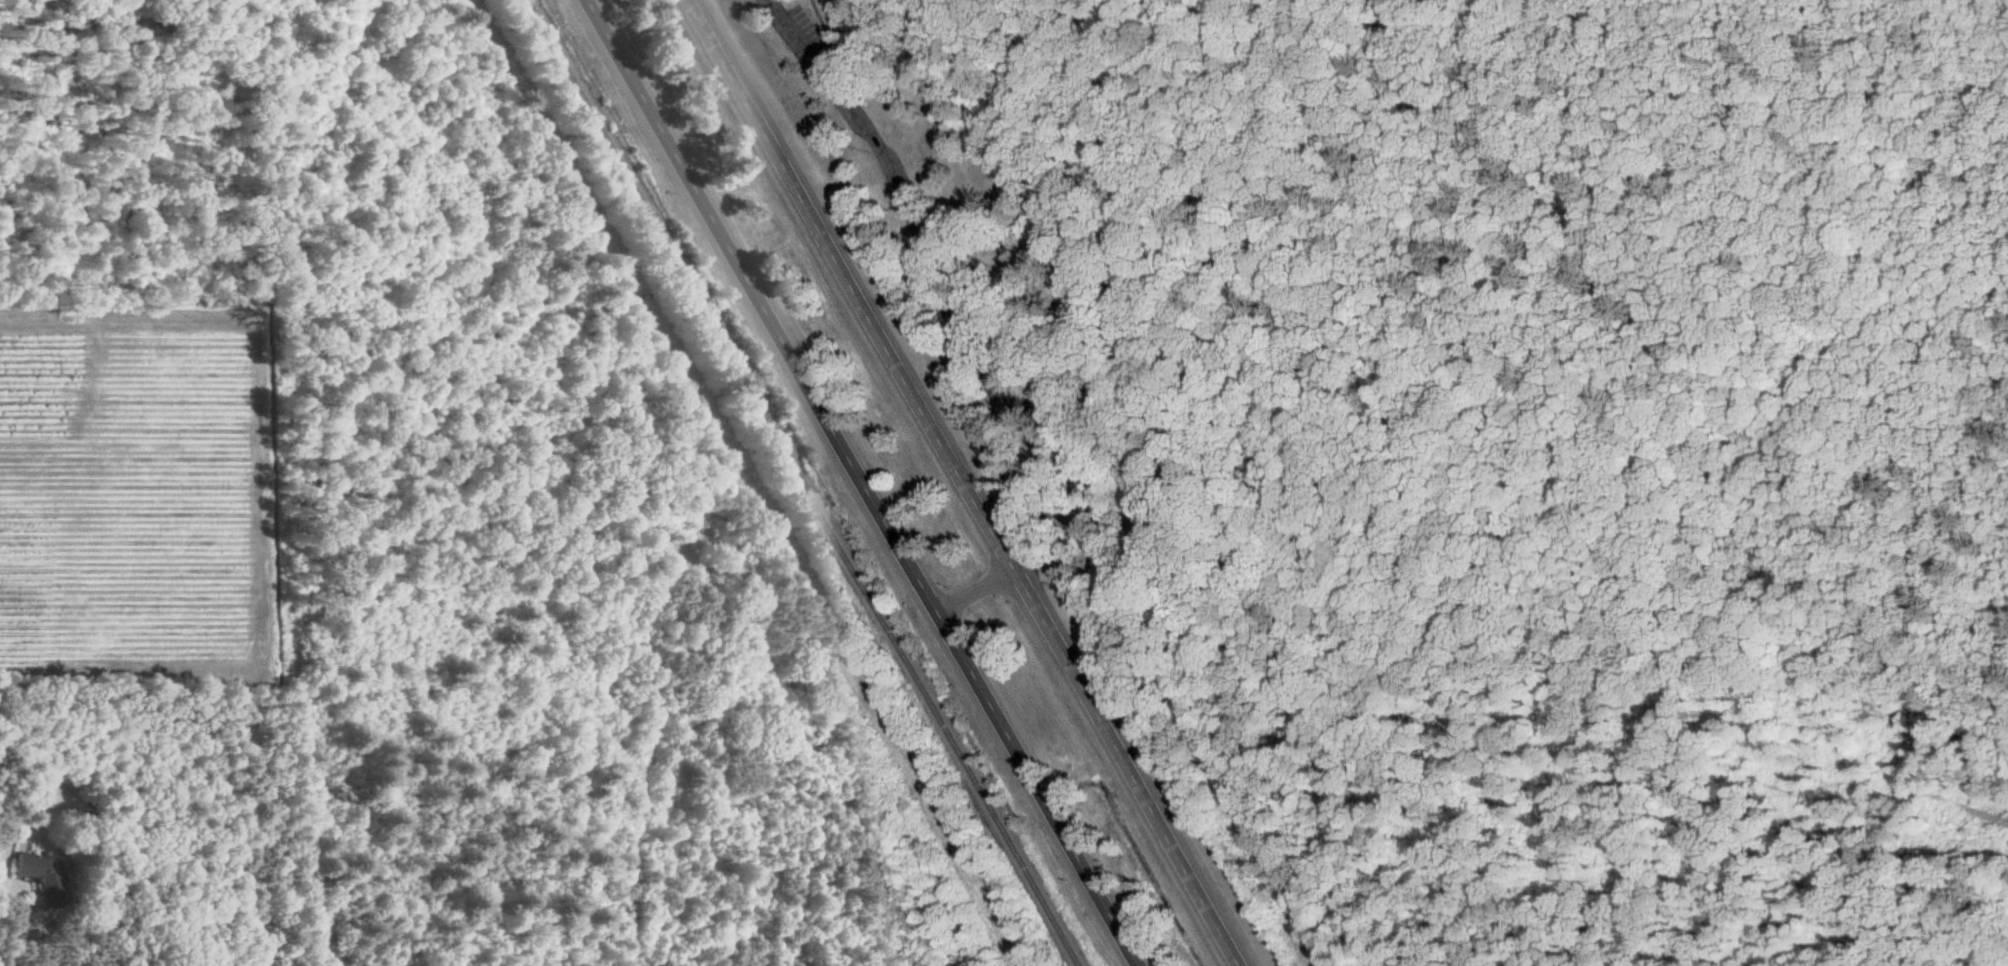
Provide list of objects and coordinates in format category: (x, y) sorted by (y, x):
park: (913, 269)
road: (945, 274)
road: (850, 285)
railway: (804, 483)
road: (863, 483)
road: (975, 591)
road: (1127, 768)
building: (37, 869)
road: (8, 933)

